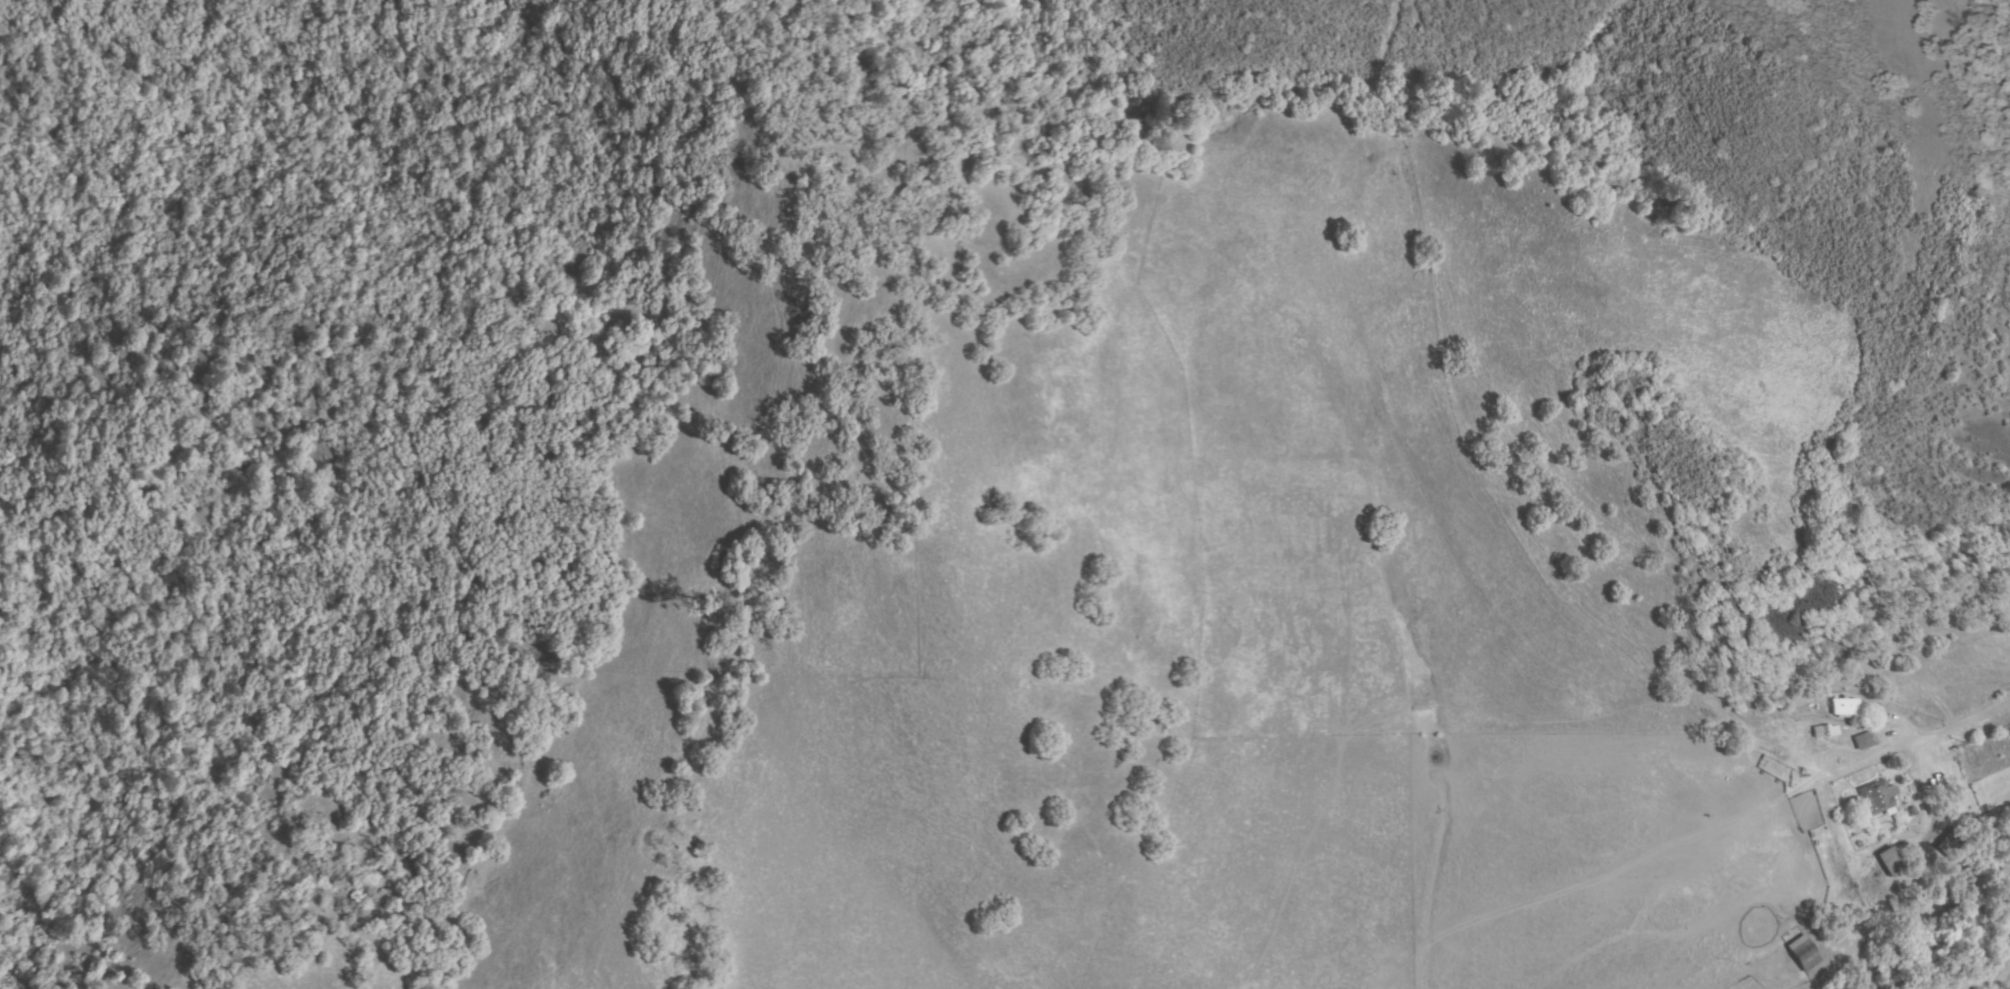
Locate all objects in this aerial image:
building: (1845, 708)
building: (1825, 731)
road: (1920, 739)
building: (1865, 740)
building: (1876, 798)
building: (1951, 842)
building: (1891, 862)
building: (1952, 900)
building: (1802, 954)

